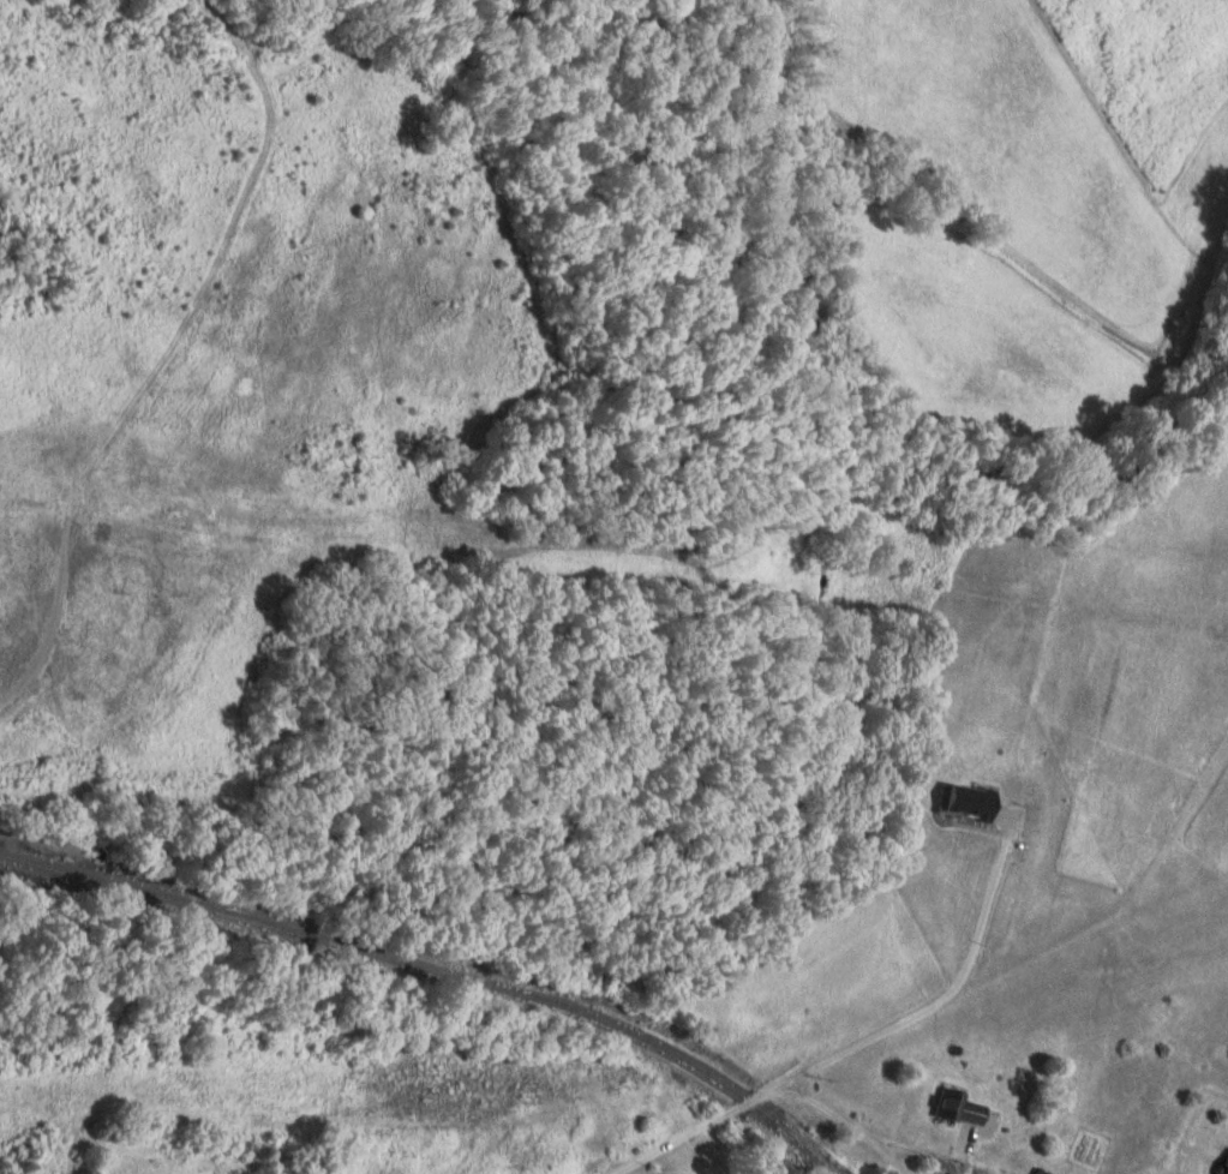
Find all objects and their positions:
railway: (435, 970)
road: (814, 1100)
building: (969, 1110)
road: (683, 1136)
building: (1227, 1173)

